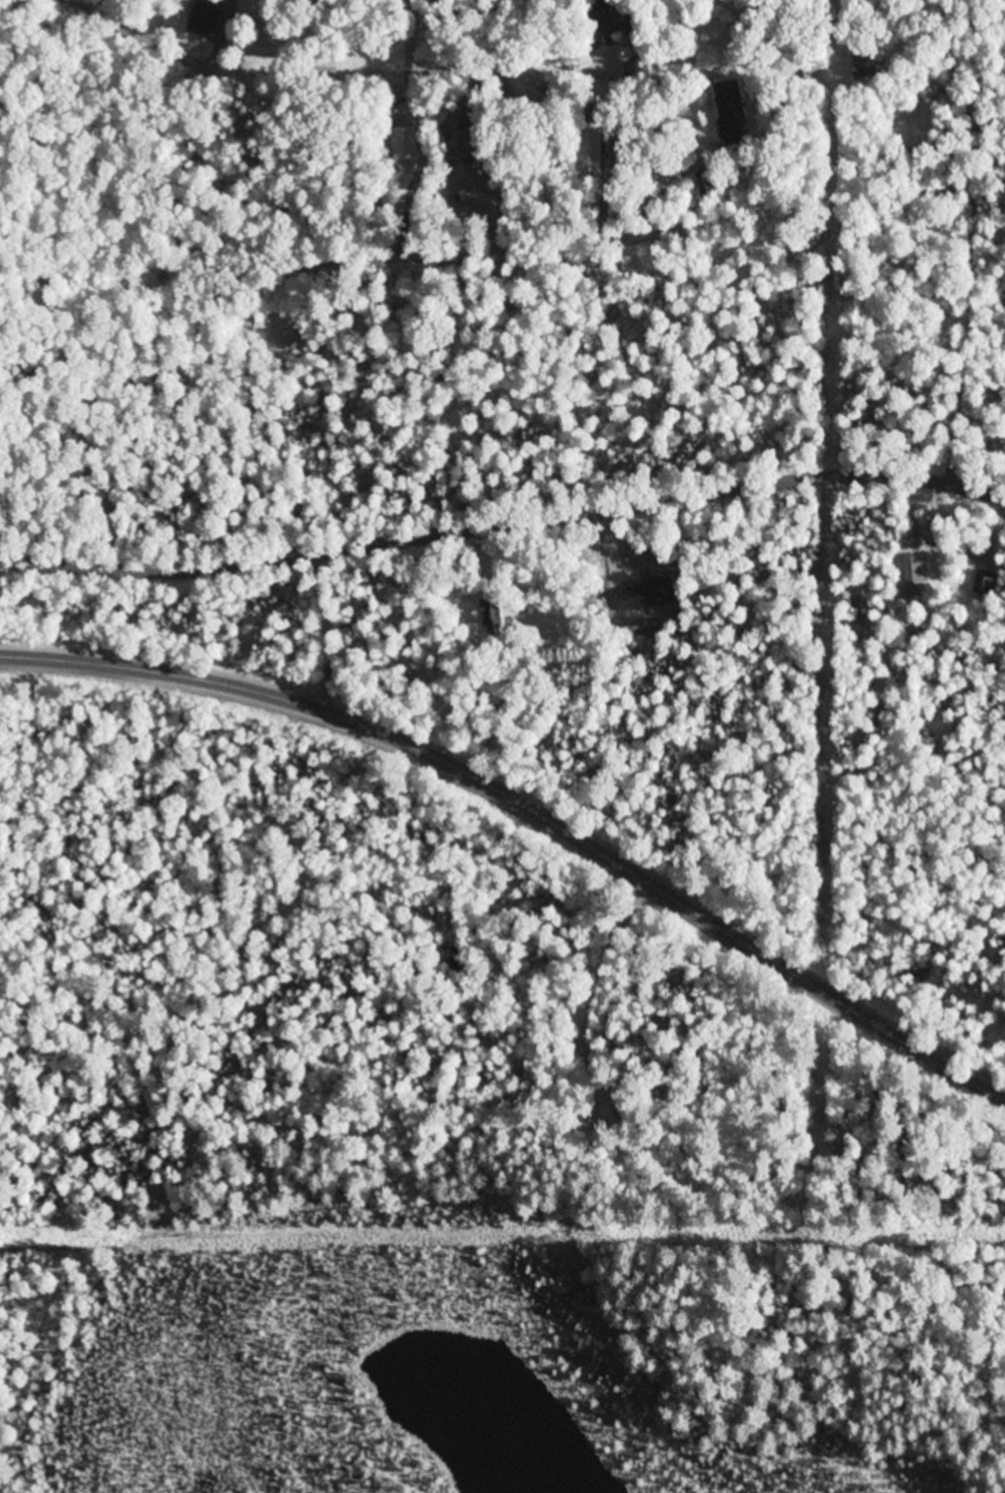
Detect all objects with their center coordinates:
road: (19, 84)
road: (349, 141)
road: (188, 170)
road: (655, 178)
road: (921, 235)
road: (433, 253)
road: (296, 478)
road: (503, 519)
building: (912, 571)
road: (331, 627)
road: (529, 798)

